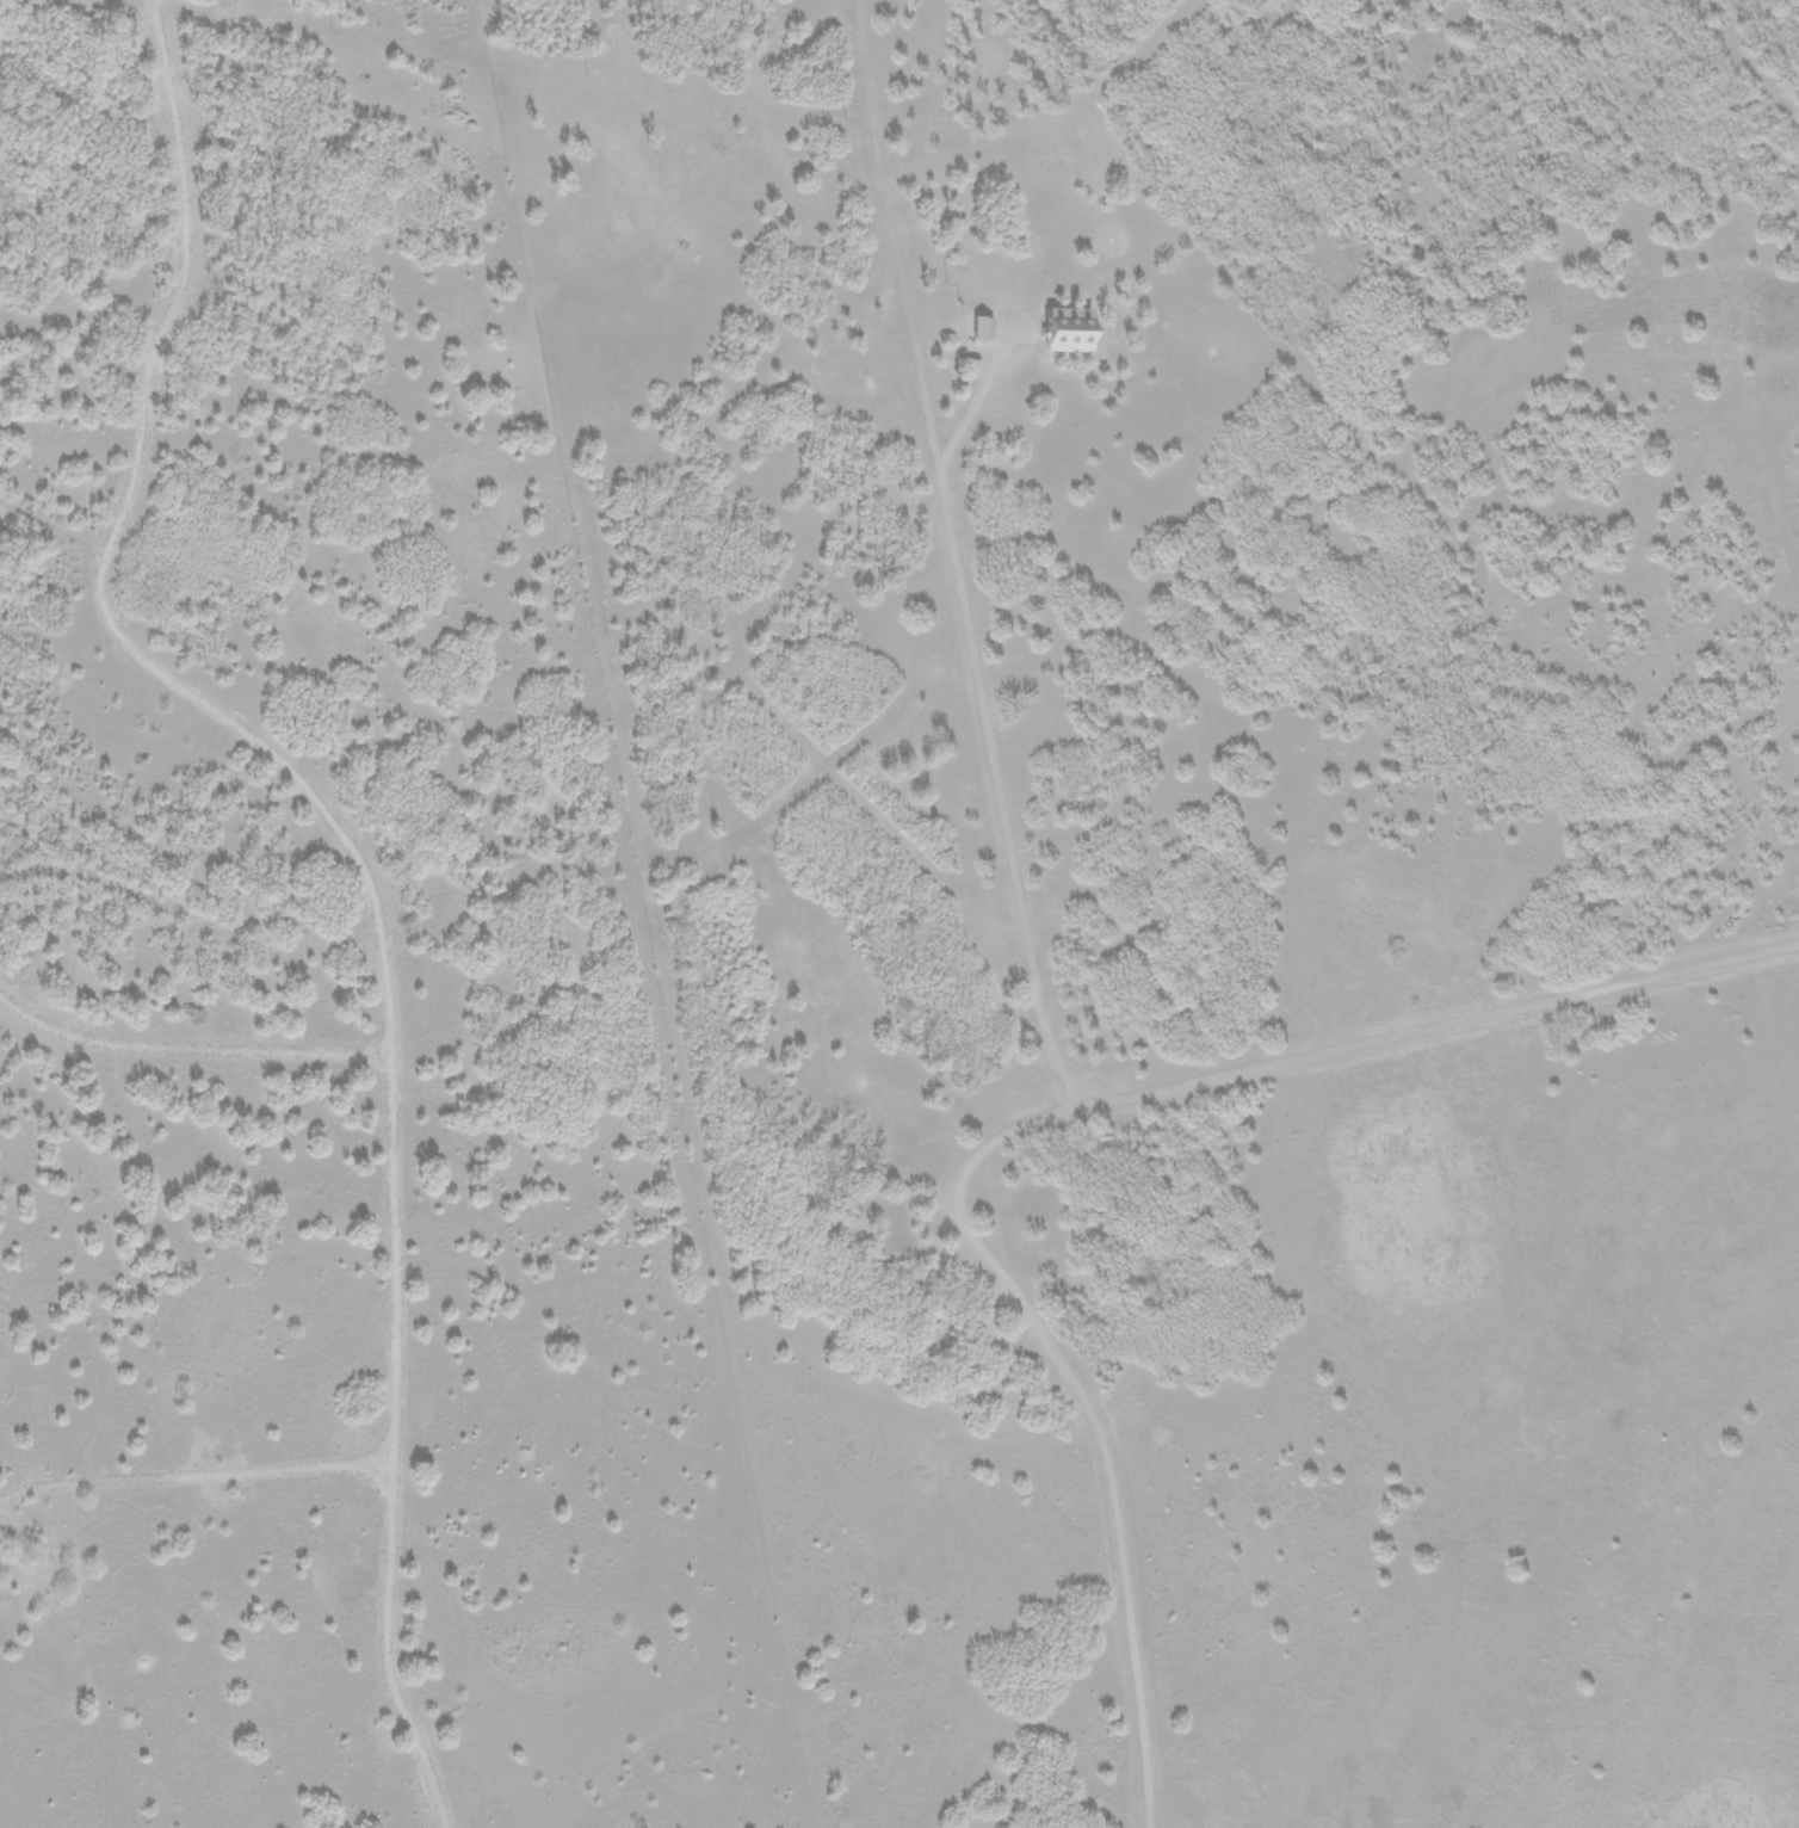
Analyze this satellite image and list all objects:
building: (984, 326)
building: (1071, 328)

